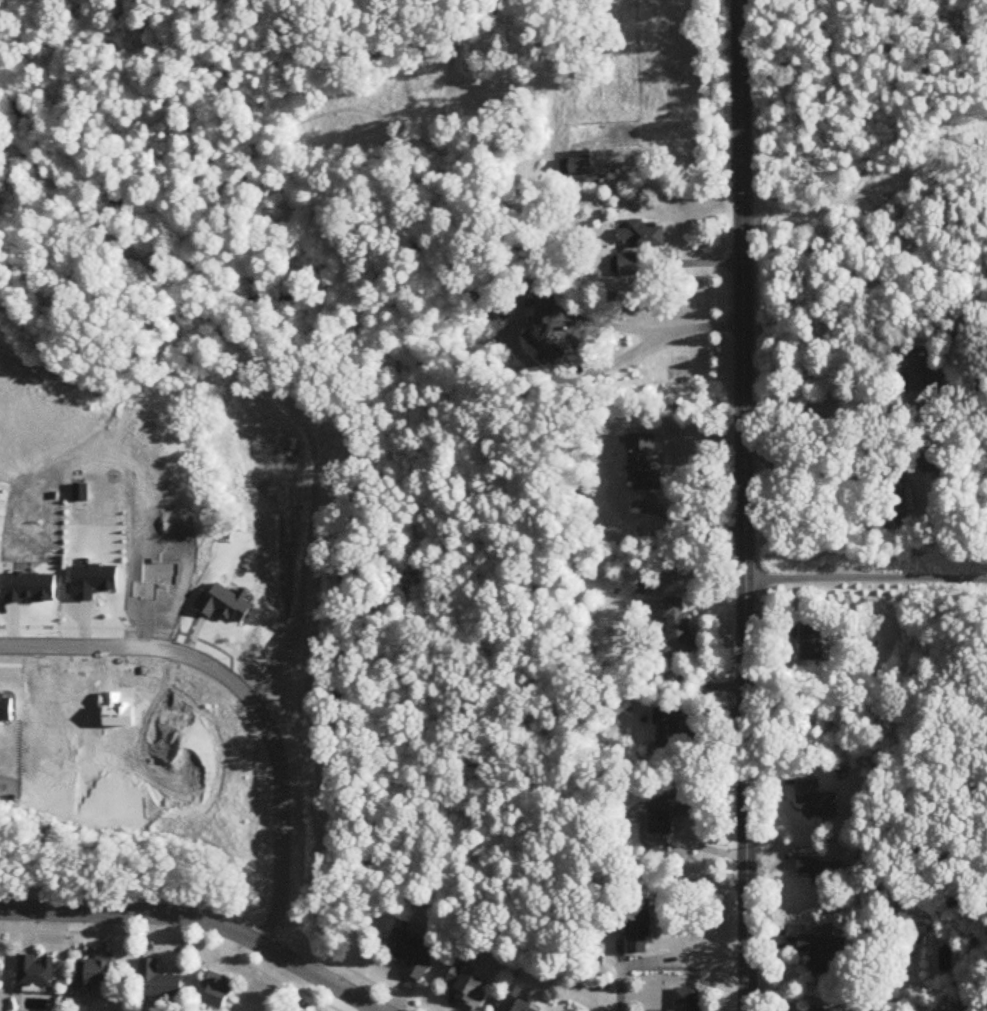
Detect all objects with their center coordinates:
building: (581, 167)
building: (643, 235)
building: (626, 266)
road: (658, 327)
building: (546, 346)
building: (923, 375)
road: (849, 416)
building: (936, 461)
building: (643, 464)
building: (896, 501)
road: (745, 505)
road: (865, 576)
road: (654, 620)
building: (679, 628)
building: (815, 643)
road: (241, 697)
building: (669, 731)
building: (817, 801)
building: (669, 813)
building: (826, 872)
road: (201, 919)
building: (639, 928)
road: (176, 938)
building: (825, 953)
building: (413, 954)
road: (667, 963)
building: (1, 971)
building: (37, 971)
building: (96, 972)
building: (160, 981)
road: (377, 986)
building: (467, 987)
building: (219, 991)
building: (687, 1000)
building: (515, 1005)

